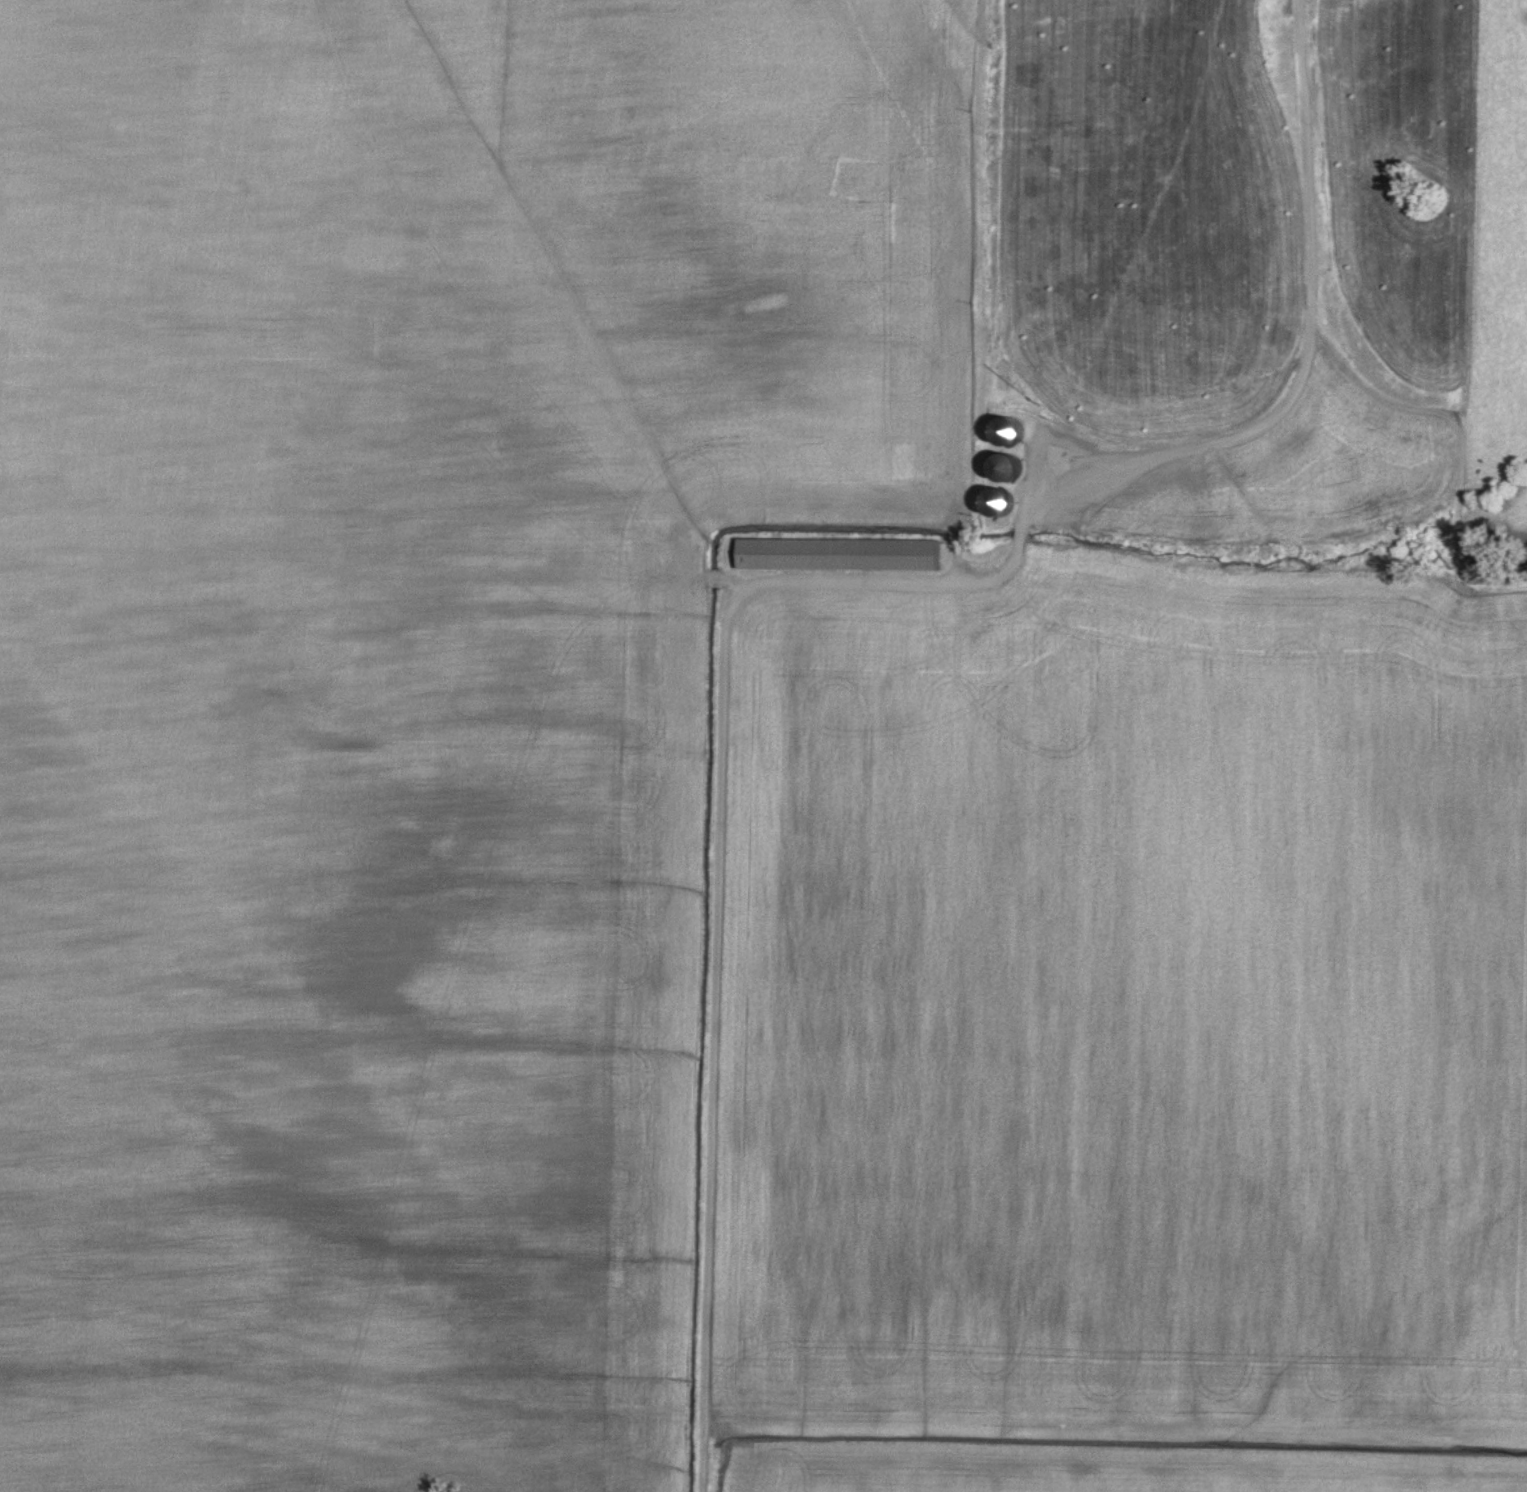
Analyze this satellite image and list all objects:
road: (1199, 444)
building: (1003, 467)
building: (998, 509)
building: (835, 555)

